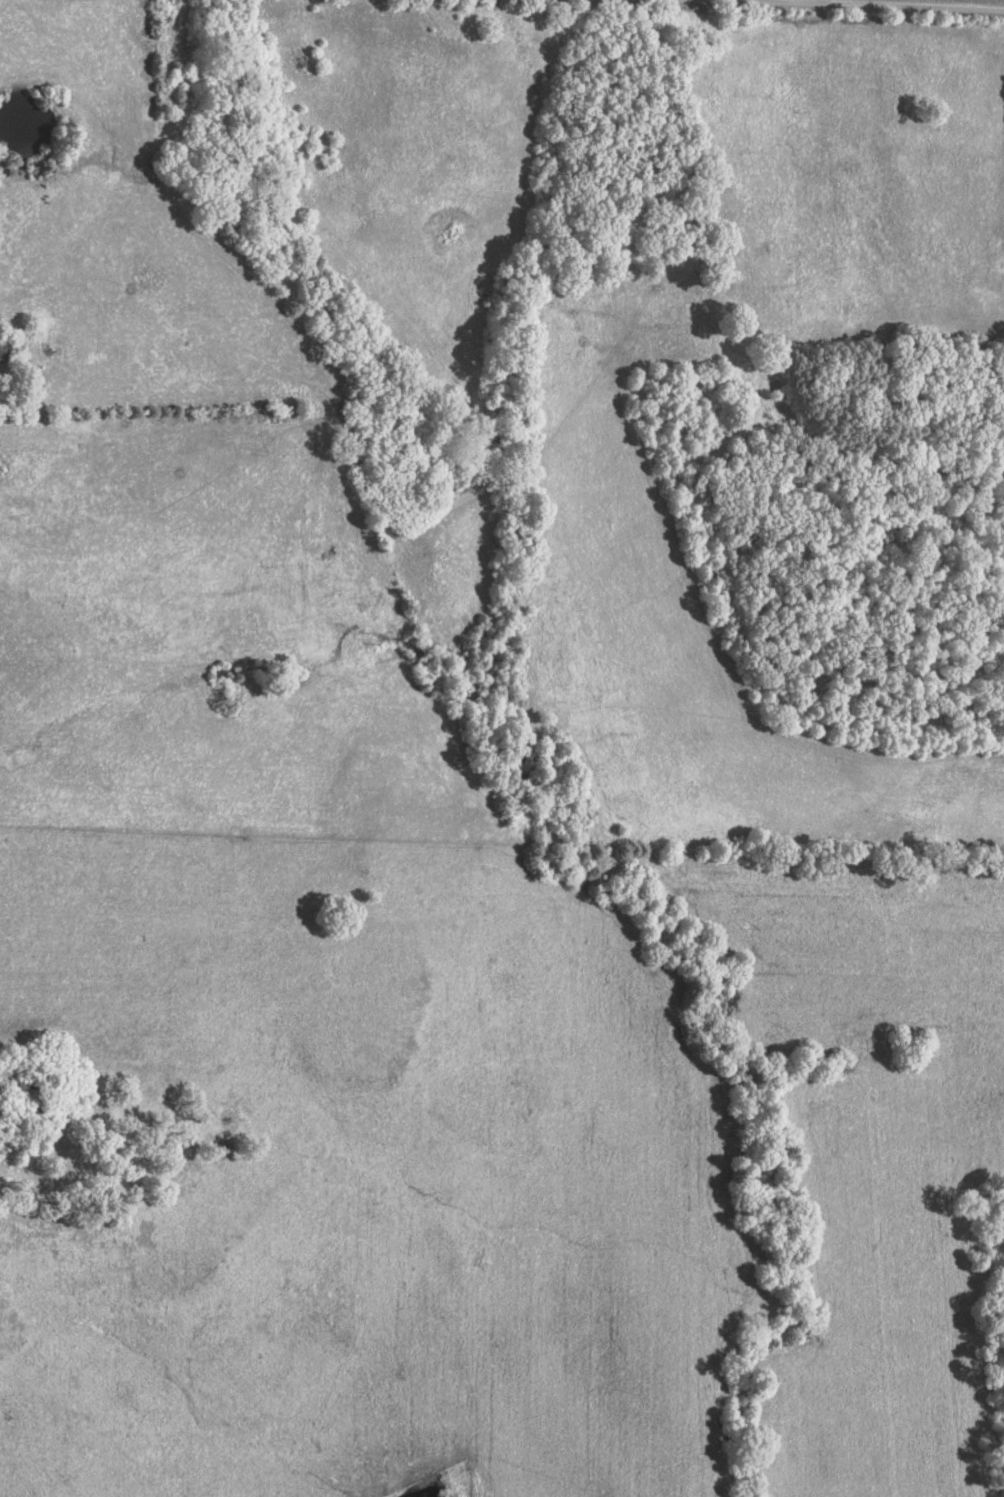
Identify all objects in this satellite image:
road: (936, 6)
building: (5, 348)

